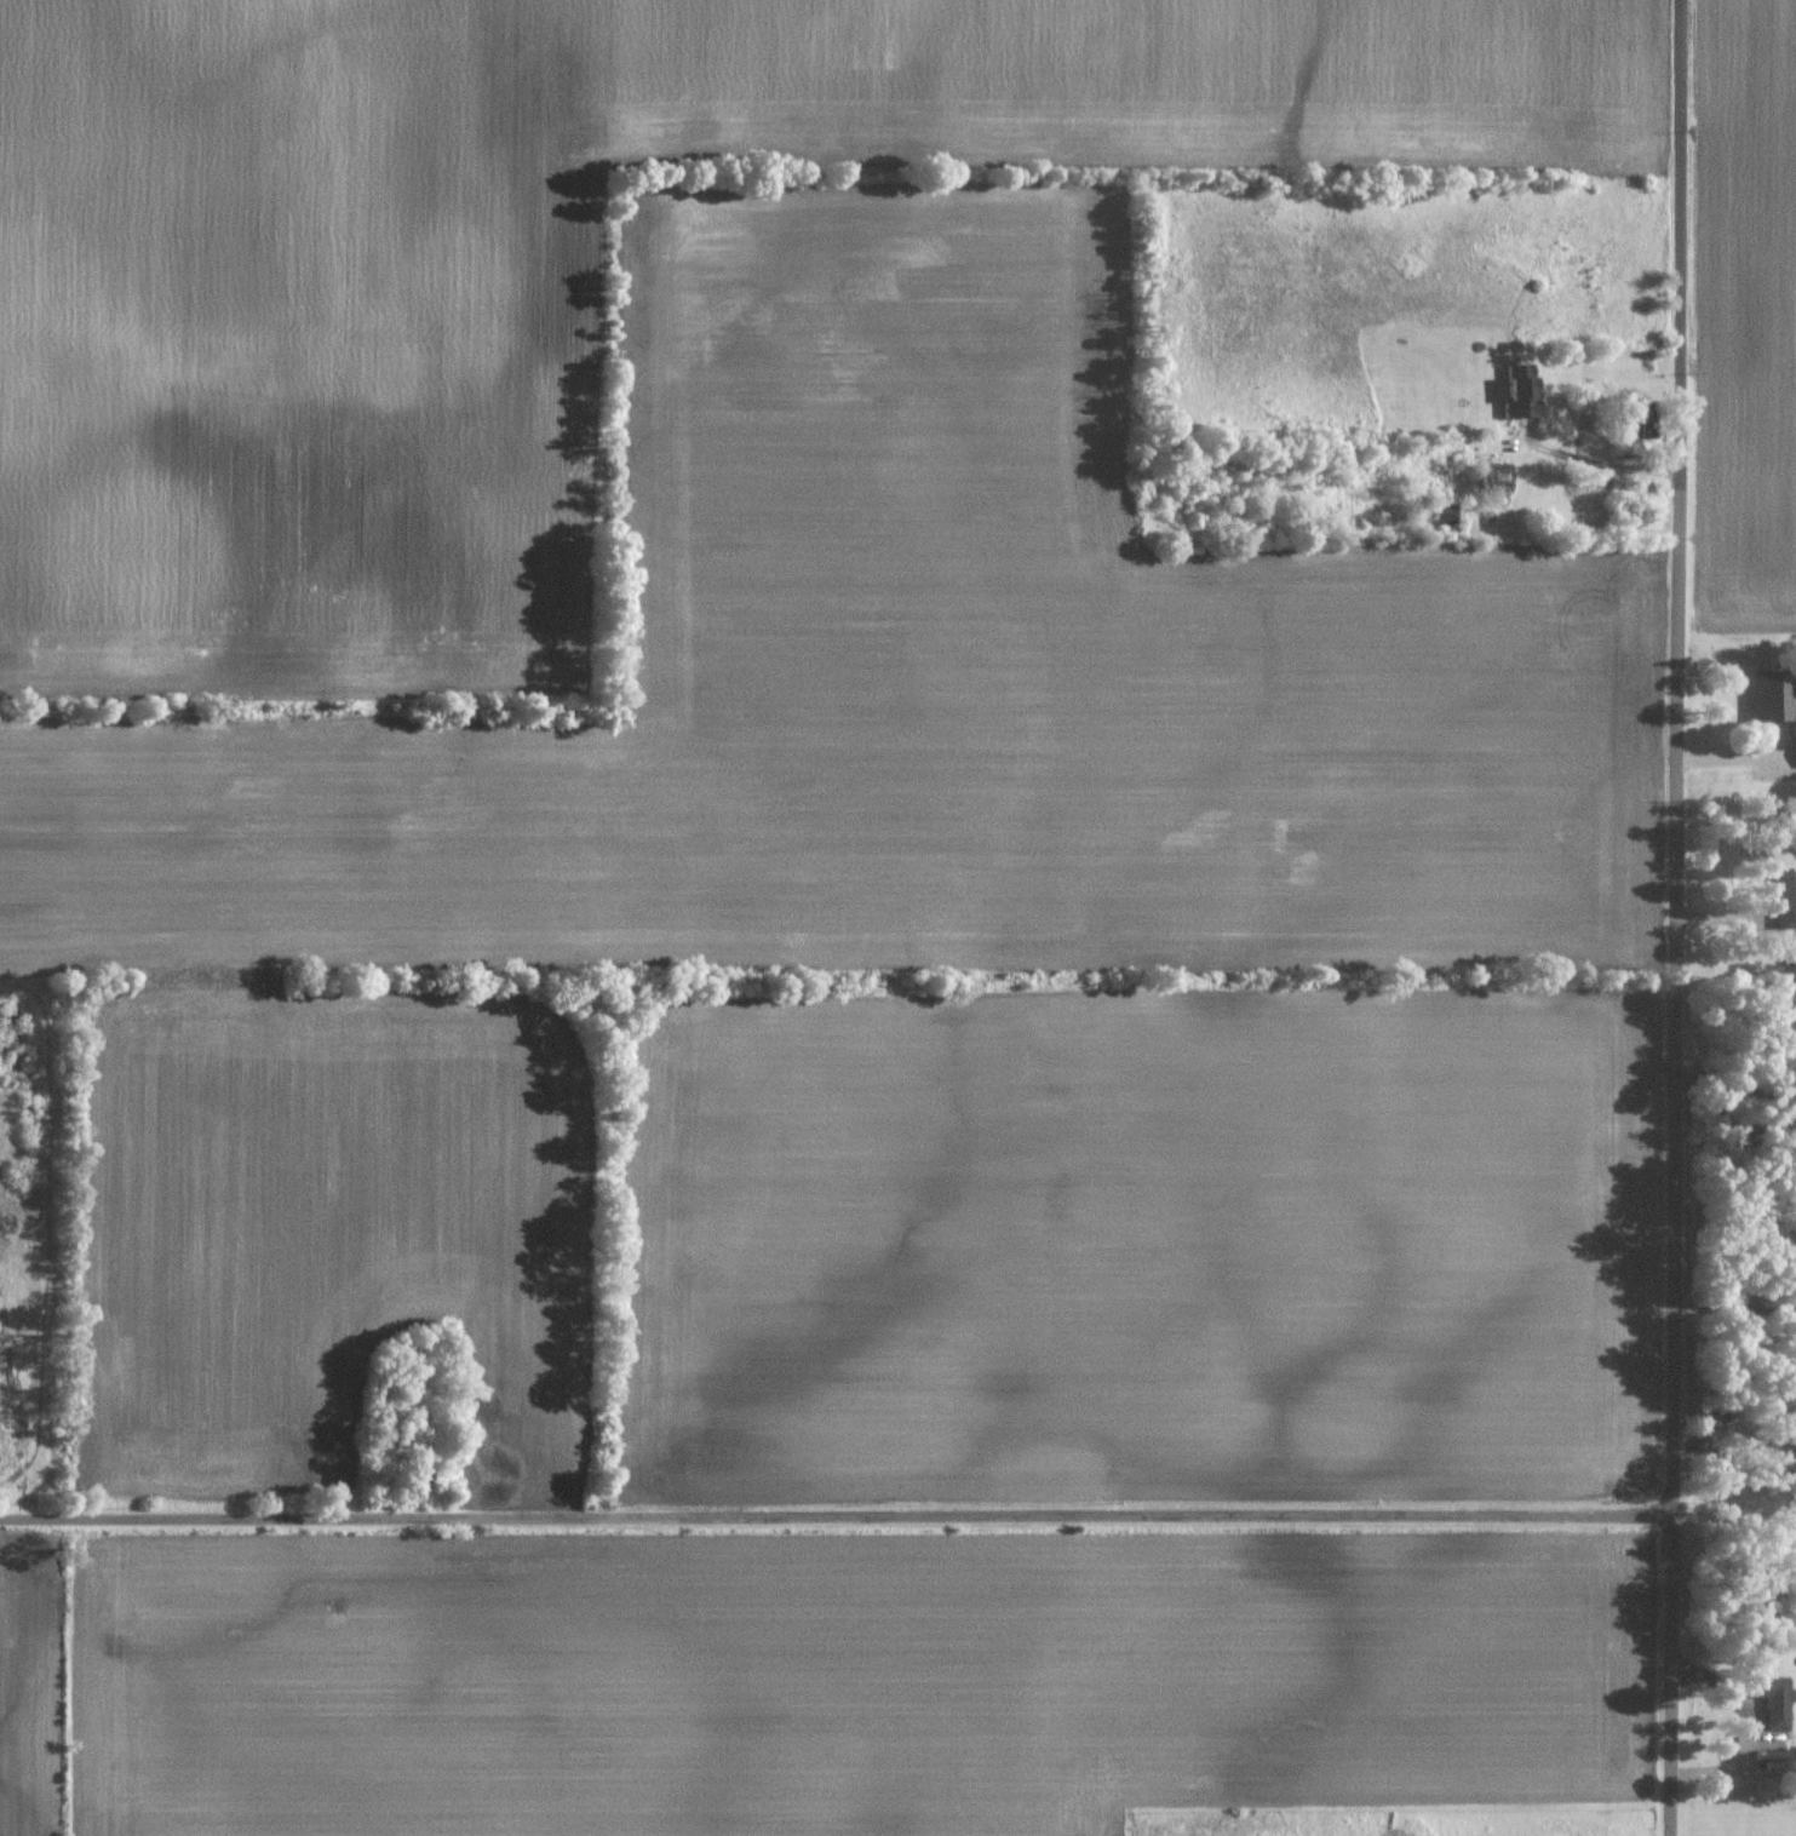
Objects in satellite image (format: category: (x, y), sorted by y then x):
building: (1520, 391)
building: (1490, 476)
building: (1772, 694)
building: (1785, 897)
road: (1737, 917)
road: (1677, 918)
road: (1735, 1089)
road: (1737, 1310)
road: (836, 1515)
road: (1735, 1527)
building: (1775, 1694)

